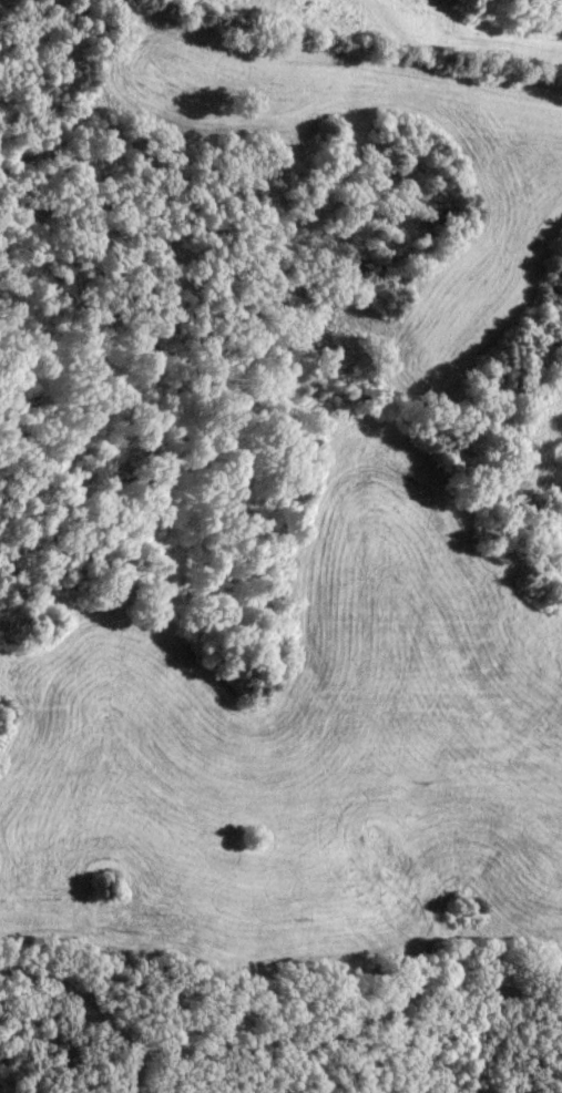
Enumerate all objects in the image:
road: (273, 1041)
road: (140, 1070)

